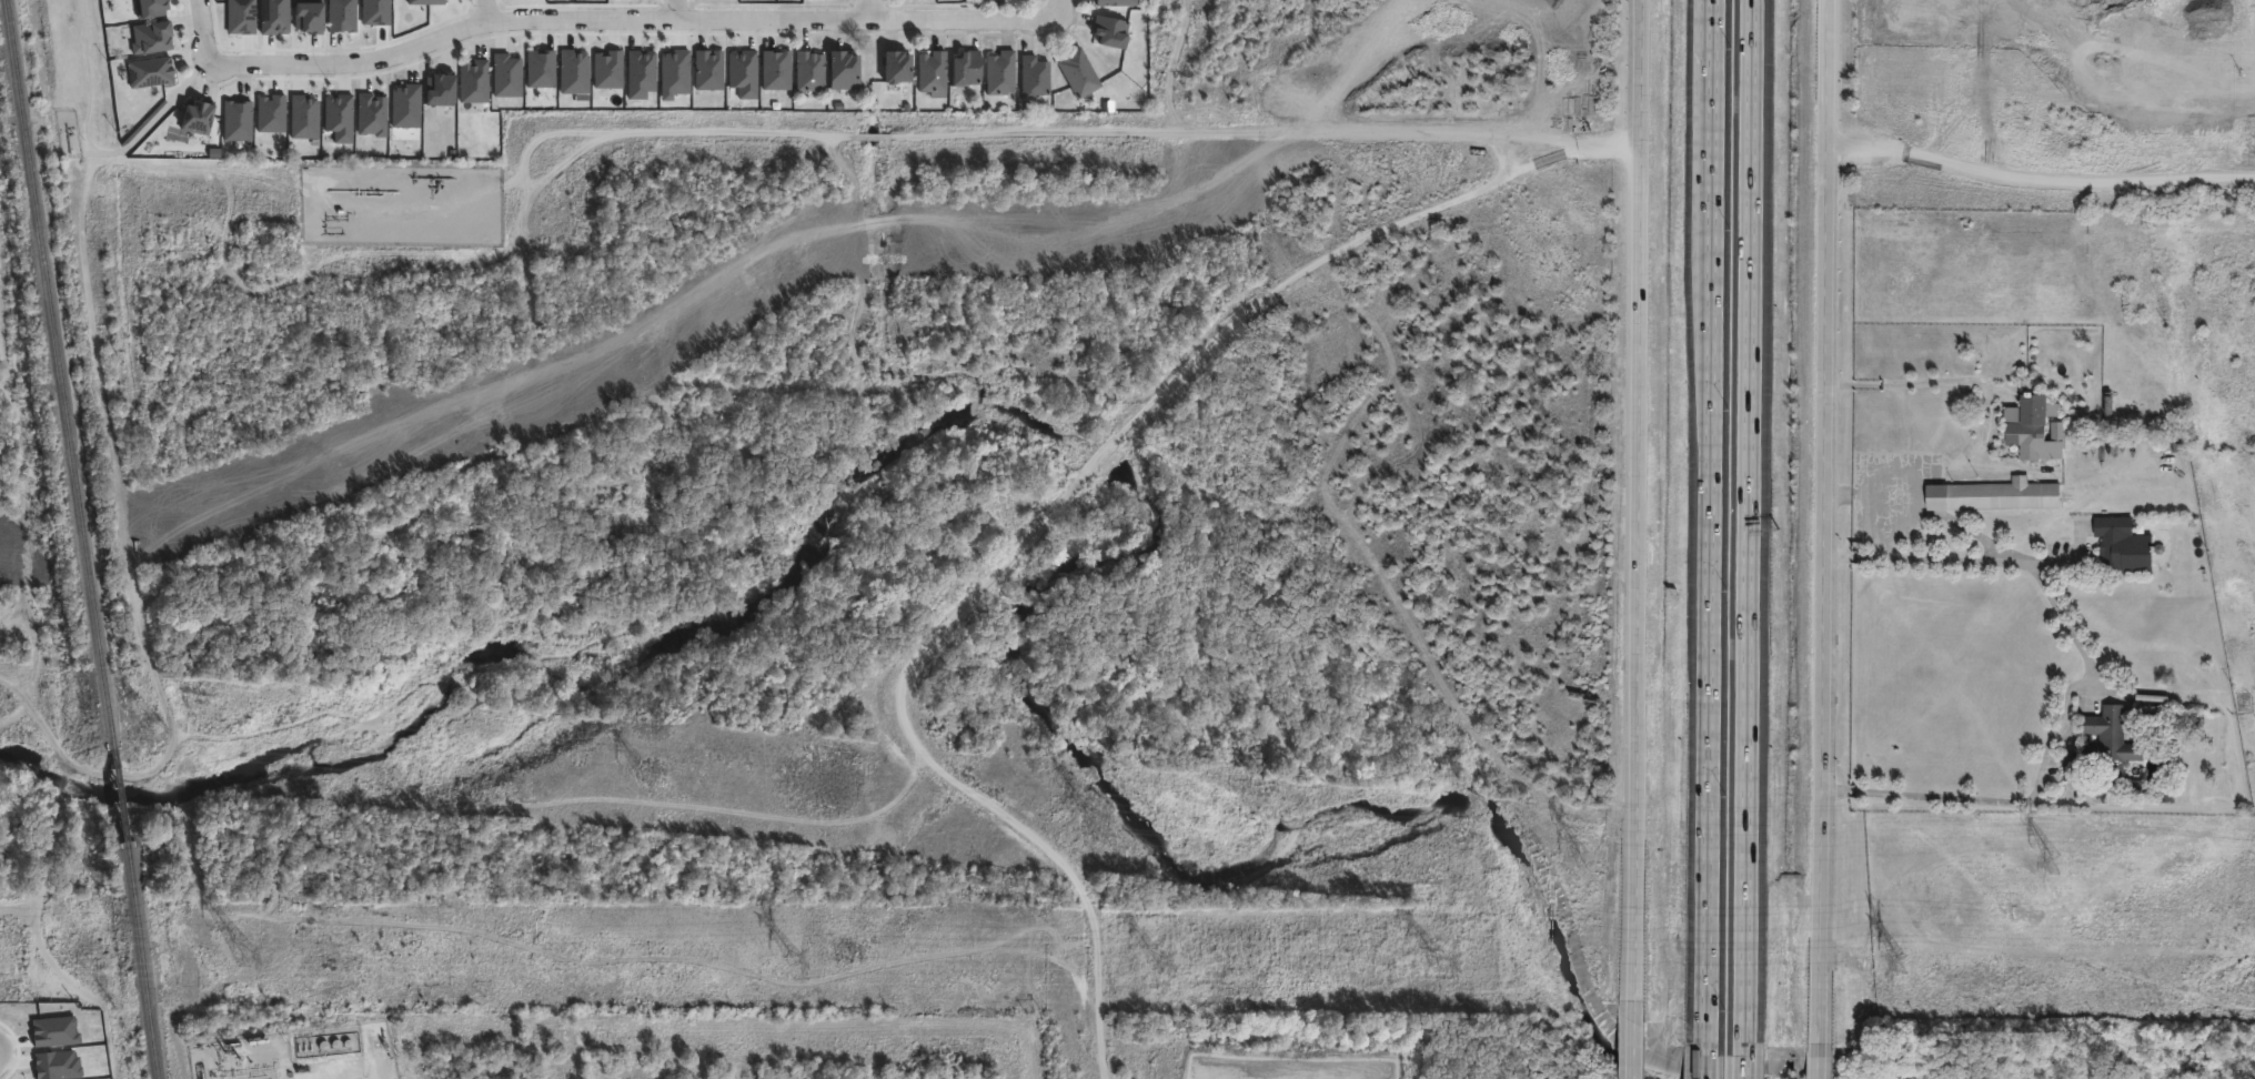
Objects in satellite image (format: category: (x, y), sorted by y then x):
building: (422, 2)
building: (1117, 2)
road: (1056, 7)
building: (150, 8)
road: (674, 10)
road: (867, 10)
road: (484, 11)
building: (372, 14)
building: (336, 17)
building: (235, 19)
building: (269, 20)
road: (628, 21)
building: (302, 23)
road: (200, 30)
building: (1113, 31)
building: (152, 36)
building: (897, 65)
building: (967, 68)
building: (150, 71)
building: (811, 71)
building: (844, 71)
building: (536, 72)
building: (934, 73)
building: (1000, 73)
building: (1080, 73)
building: (602, 74)
building: (637, 74)
building: (736, 74)
building: (772, 74)
building: (567, 75)
road: (87, 77)
building: (670, 77)
building: (703, 77)
building: (1035, 77)
building: (503, 78)
building: (474, 82)
building: (441, 89)
building: (401, 110)
building: (198, 115)
building: (266, 118)
building: (299, 121)
building: (366, 123)
building: (333, 124)
building: (232, 129)
road: (1528, 132)
road: (622, 133)
road: (1210, 133)
road: (873, 137)
road: (2041, 180)
railway: (62, 372)
road: (1920, 380)
building: (2032, 421)
building: (1999, 496)
road: (1635, 500)
road: (1050, 508)
road: (1710, 521)
road: (1749, 521)
road: (1829, 521)
building: (2127, 546)
road: (2094, 680)
power tower: (157, 733)
building: (2107, 748)
power tower: (648, 777)
building: (2167, 781)
railway: (121, 793)
power tower: (1094, 823)
power tower: (1585, 863)
power tower: (2056, 867)
power tower: (251, 952)
power tower: (798, 957)
railway: (143, 959)
power tower: (1162, 959)
power tower: (1441, 962)
power tower: (1901, 966)
road: (1635, 1040)
road: (1708, 1060)
road: (1745, 1060)
road: (1820, 1060)

